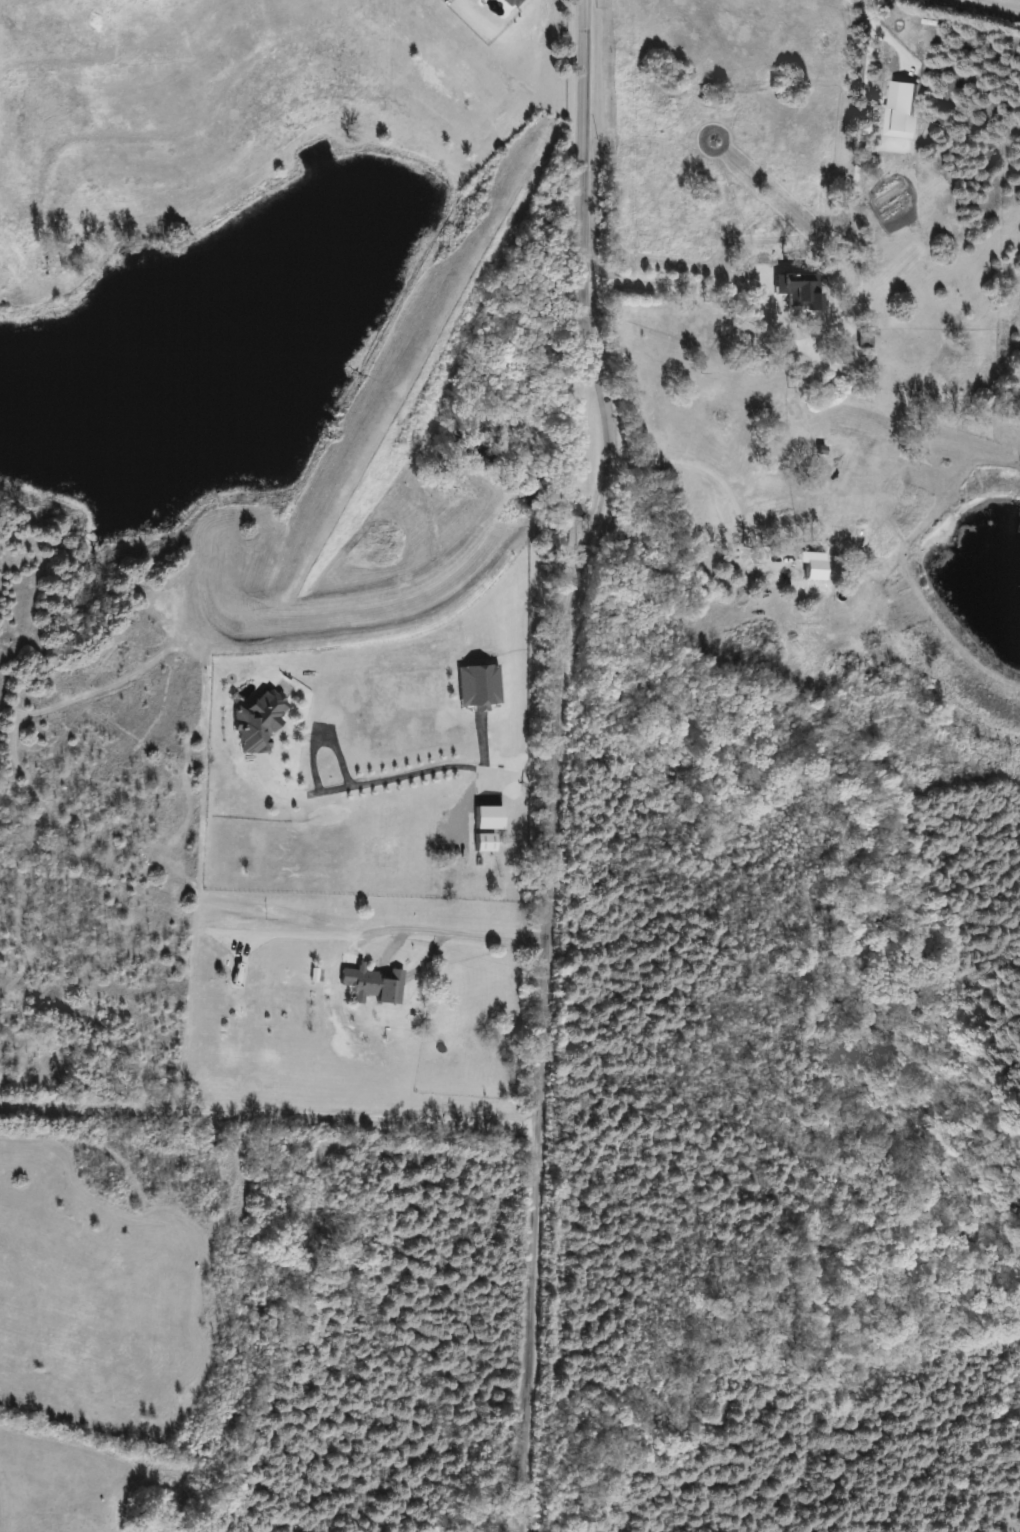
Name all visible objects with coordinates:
road: (980, 7)
road: (894, 40)
road: (865, 50)
road: (707, 293)
building: (823, 320)
road: (713, 469)
building: (477, 684)
building: (256, 725)
road: (554, 761)
road: (401, 773)
building: (487, 817)
building: (484, 842)
road: (320, 928)
road: (455, 931)
building: (374, 983)
road: (269, 1113)

